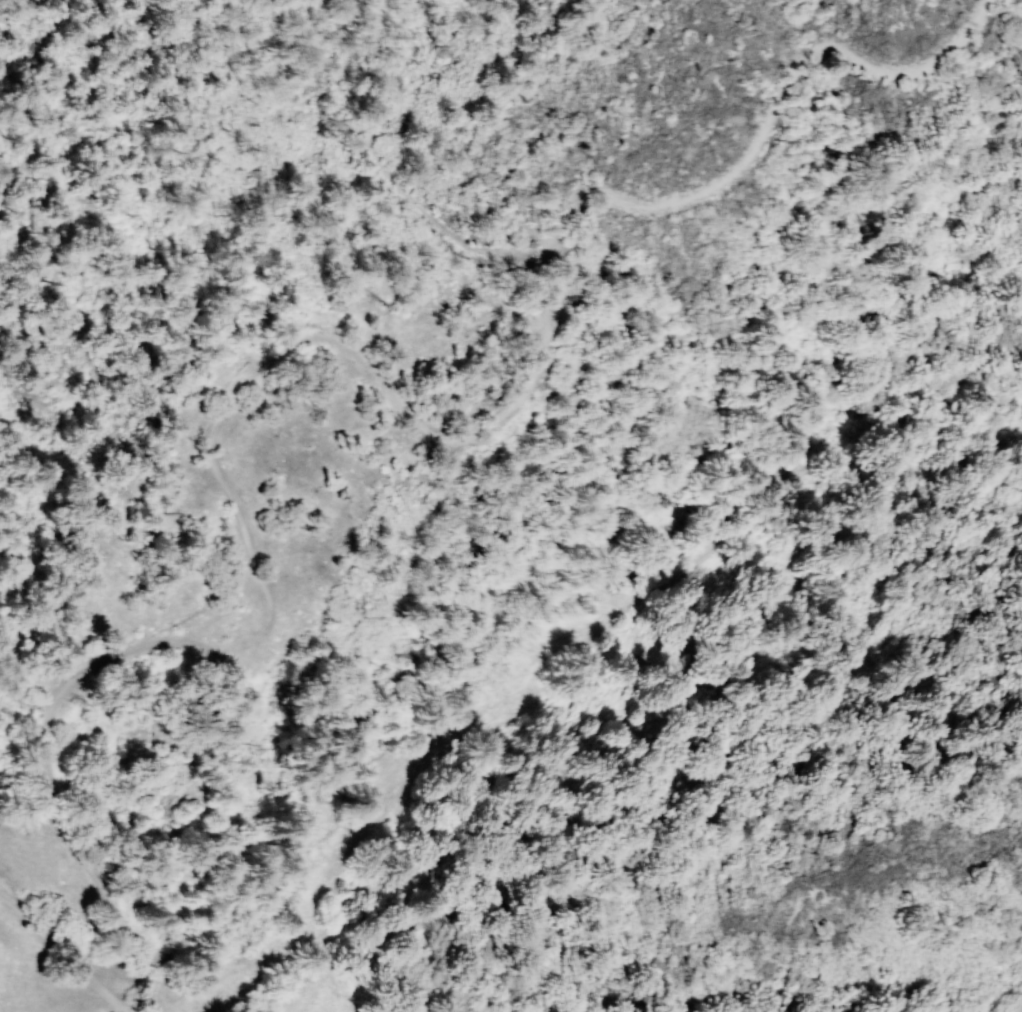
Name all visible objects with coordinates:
road: (405, 170)
road: (558, 333)
road: (221, 487)
road: (62, 950)
road: (88, 1001)

